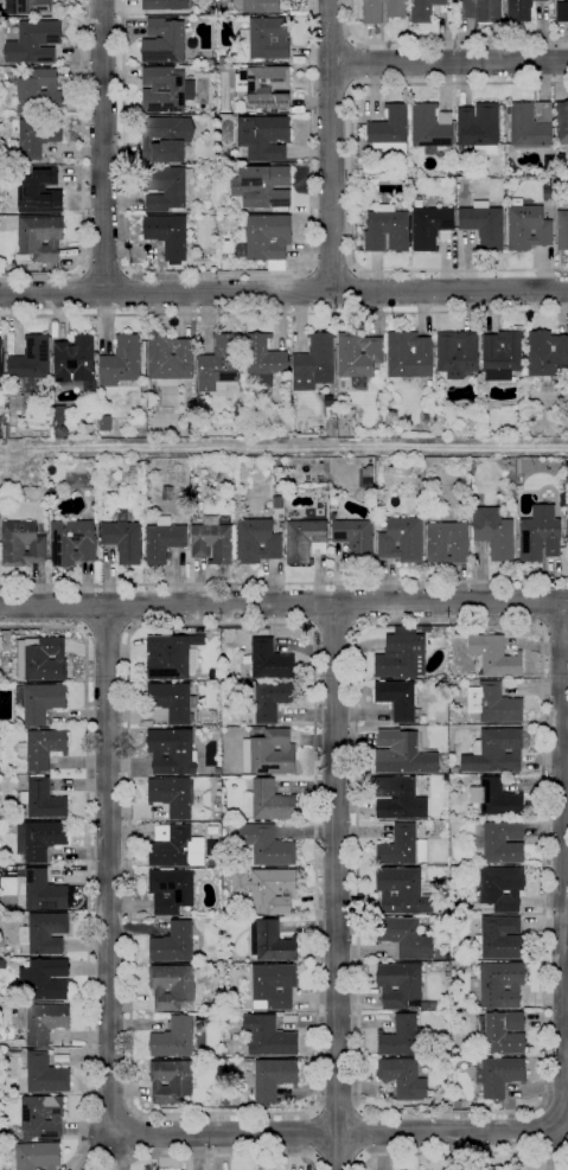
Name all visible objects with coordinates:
building: (165, 5)
building: (260, 6)
building: (34, 7)
building: (396, 9)
building: (425, 9)
building: (480, 9)
building: (518, 9)
building: (211, 11)
building: (561, 11)
building: (269, 38)
building: (34, 41)
building: (162, 41)
road: (331, 41)
road: (441, 43)
building: (222, 60)
road: (449, 60)
building: (211, 62)
road: (355, 63)
building: (15, 70)
building: (263, 84)
road: (331, 85)
building: (162, 90)
building: (38, 92)
building: (561, 123)
building: (530, 124)
building: (432, 128)
building: (479, 128)
building: (390, 130)
building: (37, 136)
building: (263, 138)
building: (166, 139)
road: (331, 145)
road: (103, 146)
building: (561, 159)
building: (451, 171)
building: (460, 173)
road: (83, 175)
road: (351, 177)
building: (264, 186)
building: (166, 187)
building: (39, 191)
building: (218, 203)
building: (359, 217)
building: (484, 224)
building: (429, 226)
building: (528, 228)
building: (387, 230)
building: (562, 230)
building: (167, 235)
building: (40, 237)
building: (266, 238)
road: (332, 268)
road: (106, 270)
road: (217, 273)
road: (84, 292)
road: (366, 292)
road: (128, 293)
road: (283, 293)
road: (298, 293)
road: (283, 314)
building: (0, 351)
building: (457, 353)
building: (547, 353)
building: (358, 354)
building: (502, 354)
building: (408, 356)
building: (168, 358)
building: (31, 359)
building: (74, 359)
building: (263, 359)
building: (0, 362)
building: (121, 362)
building: (314, 363)
building: (218, 364)
building: (31, 386)
building: (52, 389)
building: (293, 396)
building: (17, 398)
building: (58, 413)
building: (338, 413)
building: (521, 415)
building: (470, 417)
building: (331, 420)
building: (104, 423)
building: (279, 474)
building: (78, 479)
building: (286, 480)
building: (276, 490)
building: (567, 492)
building: (167, 493)
building: (43, 494)
building: (277, 503)
building: (567, 523)
building: (494, 532)
building: (540, 535)
building: (123, 538)
building: (355, 538)
building: (162, 539)
building: (401, 539)
building: (211, 541)
building: (257, 541)
building: (306, 541)
building: (72, 542)
building: (447, 542)
building: (21, 544)
road: (283, 582)
road: (300, 603)
road: (542, 603)
road: (283, 605)
road: (355, 605)
road: (85, 606)
road: (126, 607)
road: (553, 627)
road: (334, 628)
road: (107, 631)
building: (215, 632)
building: (171, 656)
building: (400, 656)
building: (494, 656)
building: (40, 659)
building: (269, 660)
building: (5, 664)
building: (446, 685)
building: (268, 699)
building: (171, 701)
building: (400, 701)
building: (39, 702)
building: (493, 703)
building: (42, 748)
building: (171, 750)
building: (494, 752)
building: (269, 753)
building: (403, 754)
building: (454, 769)
building: (217, 772)
building: (446, 778)
building: (171, 797)
building: (43, 799)
building: (398, 799)
building: (496, 799)
building: (268, 801)
building: (2, 818)
building: (446, 825)
building: (1, 829)
building: (39, 839)
building: (500, 842)
building: (266, 845)
building: (175, 846)
building: (402, 846)
road: (563, 865)
road: (108, 869)
road: (337, 887)
building: (500, 888)
building: (267, 889)
building: (40, 891)
building: (171, 891)
building: (403, 891)
building: (458, 912)
building: (46, 933)
building: (404, 938)
building: (502, 939)
building: (270, 941)
building: (1, 942)
building: (173, 944)
building: (2, 964)
road: (89, 976)
building: (45, 979)
building: (400, 984)
building: (499, 985)
building: (172, 986)
building: (273, 986)
building: (445, 1006)
building: (42, 1021)
building: (504, 1032)
building: (268, 1036)
building: (400, 1036)
building: (173, 1038)
building: (12, 1054)
building: (44, 1074)
building: (497, 1075)
building: (273, 1079)
building: (403, 1079)
building: (170, 1081)
building: (457, 1104)
road: (541, 1106)
road: (314, 1107)
road: (338, 1108)
building: (42, 1115)
road: (314, 1133)
road: (338, 1133)
road: (363, 1133)
building: (4, 1137)
road: (460, 1152)
building: (37, 1156)
road: (339, 1158)

